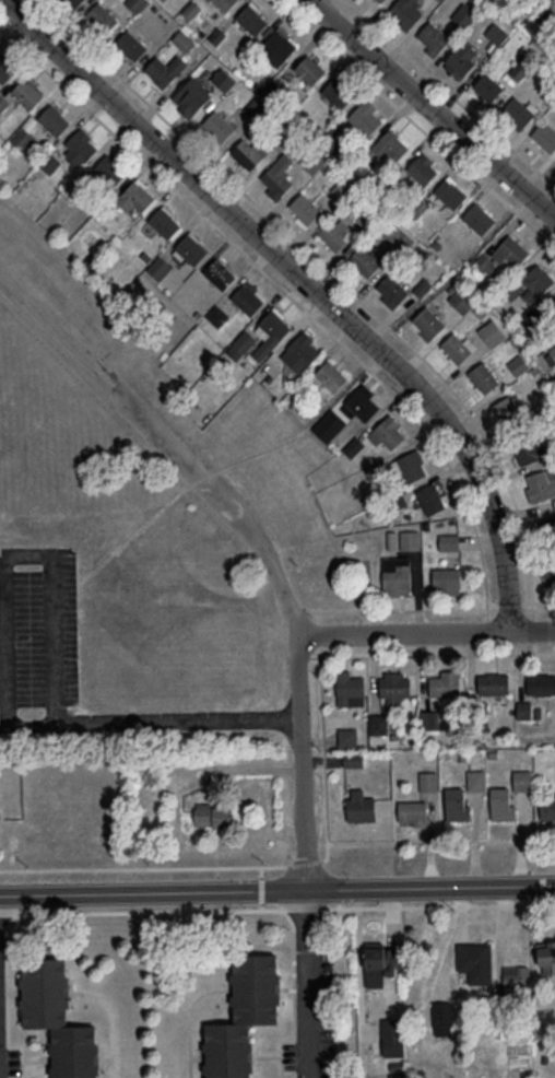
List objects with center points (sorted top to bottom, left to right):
building: (163, 0)
building: (381, 0)
building: (74, 2)
building: (224, 3)
building: (135, 4)
building: (405, 11)
building: (464, 15)
building: (102, 16)
building: (251, 19)
building: (496, 33)
building: (433, 36)
building: (184, 40)
building: (130, 44)
building: (280, 44)
building: (462, 59)
building: (4, 69)
building: (309, 69)
building: (160, 71)
building: (223, 79)
building: (487, 87)
building: (26, 92)
road: (449, 92)
building: (338, 93)
building: (188, 98)
building: (0, 107)
building: (255, 107)
road: (434, 108)
building: (517, 112)
building: (365, 117)
building: (54, 119)
road: (416, 124)
building: (217, 125)
building: (545, 134)
building: (23, 137)
building: (390, 143)
building: (81, 145)
building: (246, 153)
building: (314, 161)
building: (109, 169)
building: (422, 169)
building: (276, 179)
building: (343, 187)
building: (449, 191)
building: (138, 195)
building: (305, 208)
building: (479, 216)
building: (164, 222)
building: (332, 234)
building: (191, 248)
building: (511, 249)
building: (363, 260)
building: (158, 267)
building: (219, 272)
road: (336, 277)
road: (312, 281)
building: (536, 282)
building: (392, 289)
road: (288, 294)
building: (247, 297)
building: (461, 298)
building: (551, 302)
building: (217, 315)
building: (428, 323)
building: (275, 324)
building: (492, 332)
building: (241, 343)
building: (457, 347)
building: (303, 349)
building: (330, 374)
building: (483, 377)
building: (362, 402)
building: (505, 408)
building: (388, 433)
building: (353, 446)
building: (531, 452)
road: (225, 464)
building: (411, 467)
building: (541, 484)
building: (430, 499)
building: (410, 539)
building: (449, 541)
road: (259, 548)
road: (0, 550)
road: (3, 553)
road: (16, 556)
building: (550, 573)
building: (397, 575)
building: (446, 579)
road: (509, 607)
road: (538, 607)
road: (402, 608)
road: (299, 613)
road: (318, 616)
road: (533, 622)
road: (487, 623)
road: (426, 629)
parking lot: (43, 631)
road: (319, 634)
road: (432, 654)
road: (304, 656)
building: (349, 683)
building: (445, 683)
building: (493, 683)
building: (541, 683)
building: (393, 688)
building: (427, 719)
road: (154, 722)
building: (378, 723)
road: (2, 724)
building: (346, 735)
road: (323, 754)
road: (304, 760)
building: (353, 760)
building: (475, 778)
building: (428, 780)
building: (522, 780)
building: (501, 802)
building: (456, 804)
building: (361, 807)
building: (547, 807)
building: (412, 811)
building: (213, 815)
road: (441, 841)
road: (305, 862)
road: (143, 867)
road: (261, 870)
road: (261, 889)
road: (277, 890)
road: (444, 893)
road: (444, 902)
road: (262, 905)
road: (440, 905)
road: (306, 909)
road: (150, 910)
road: (8, 913)
building: (546, 957)
building: (475, 961)
building: (381, 963)
building: (516, 975)
road: (309, 984)
building: (255, 988)
building: (44, 991)
road: (293, 998)
road: (8, 999)
building: (441, 1017)
road: (111, 1018)
road: (190, 1018)
building: (393, 1036)
building: (227, 1050)
building: (74, 1051)
road: (198, 1057)
road: (105, 1059)

